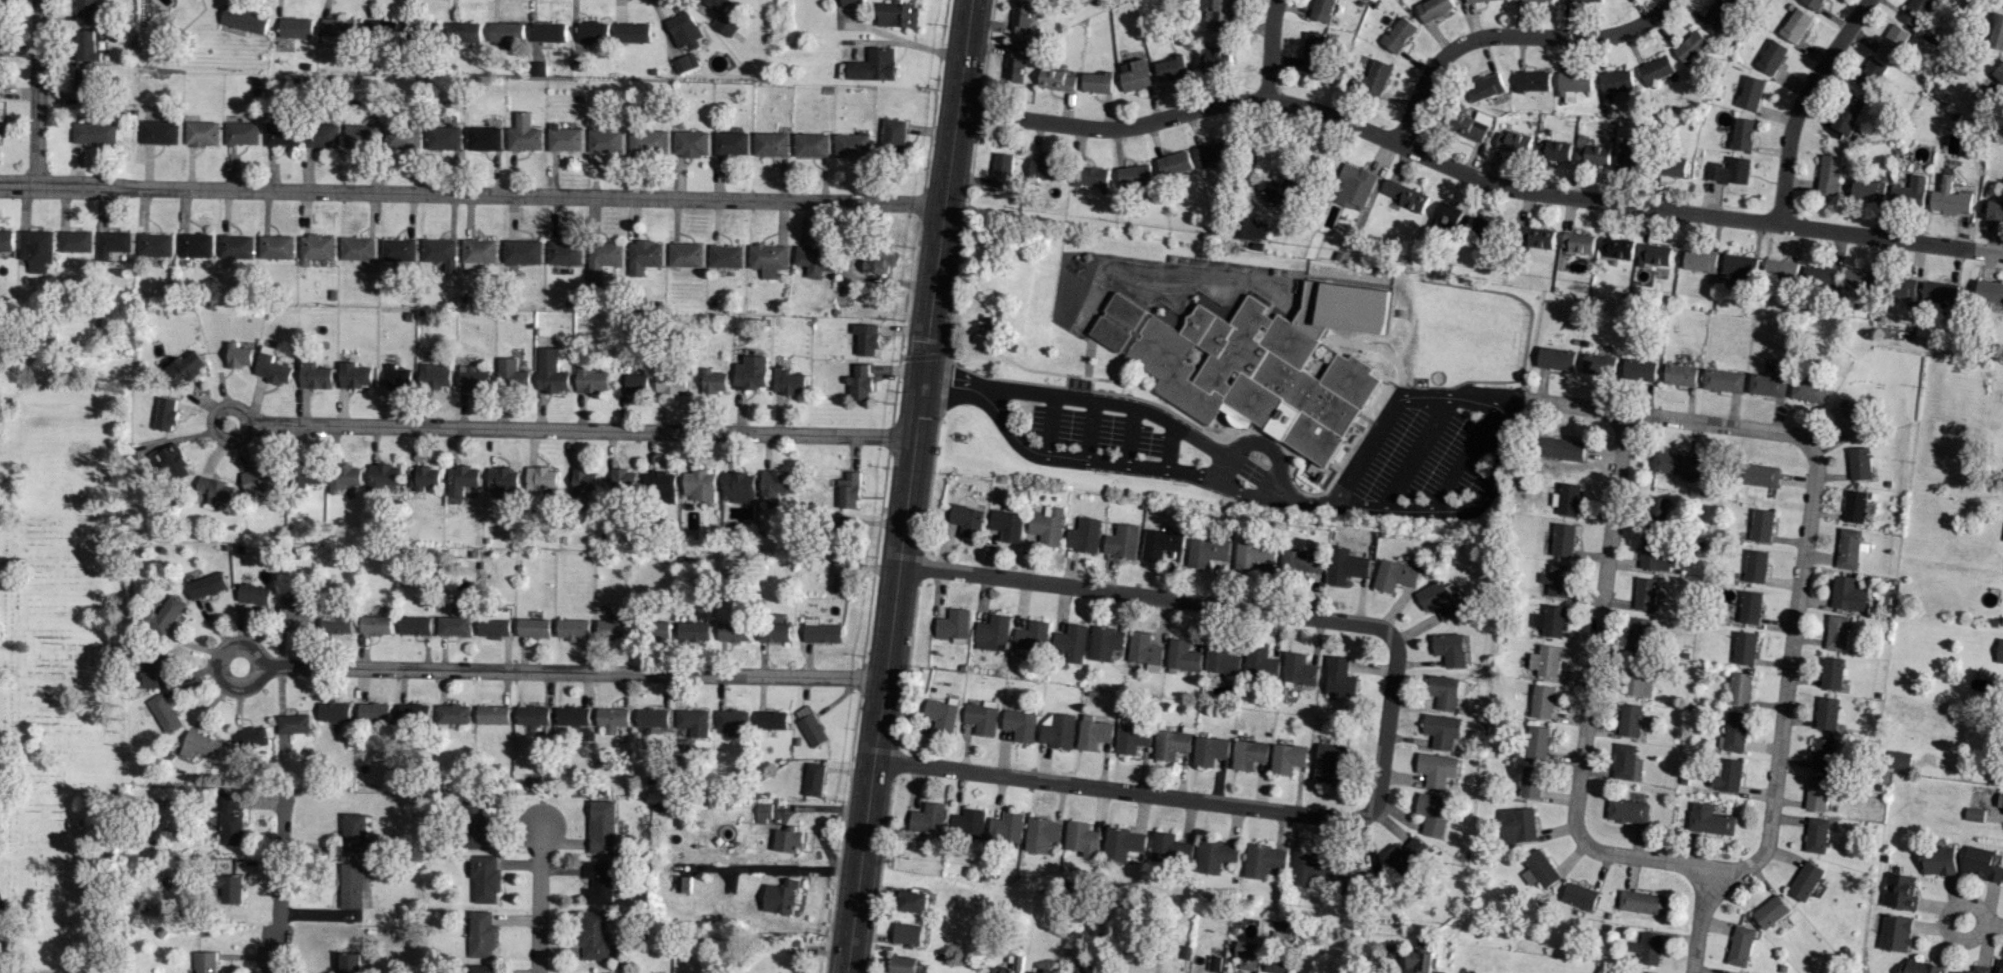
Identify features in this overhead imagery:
building: (0, 0)
building: (1534, 0)
building: (1586, 0)
building: (1476, 1)
building: (2001, 1)
building: (852, 3)
building: (1815, 3)
building: (1431, 8)
building: (1321, 10)
building: (86, 11)
building: (1915, 12)
building: (897, 14)
building: (1218, 14)
building: (1716, 15)
building: (722, 17)
building: (1023, 18)
building: (243, 20)
building: (1796, 24)
building: (295, 28)
building: (380, 29)
building: (684, 29)
building: (336, 30)
building: (466, 31)
building: (548, 32)
building: (593, 32)
building: (632, 32)
building: (1996, 32)
building: (506, 34)
building: (1398, 34)
road: (1510, 39)
road: (905, 41)
building: (1893, 41)
building: (85, 46)
building: (1690, 46)
road: (1269, 47)
building: (1311, 52)
building: (1773, 57)
building: (1215, 58)
building: (1016, 61)
building: (579, 62)
building: (687, 62)
building: (874, 65)
building: (536, 68)
building: (1171, 68)
building: (1654, 69)
building: (1999, 73)
building: (1870, 74)
building: (1134, 75)
building: (1375, 78)
building: (1058, 79)
building: (1530, 80)
building: (1097, 82)
building: (1612, 83)
building: (84, 84)
building: (1571, 84)
building: (1483, 86)
road: (36, 91)
building: (1751, 92)
road: (1800, 102)
building: (1846, 115)
building: (1467, 125)
building: (94, 132)
building: (158, 132)
building: (201, 133)
building: (241, 133)
building: (281, 134)
building: (523, 134)
building: (1744, 134)
building: (322, 136)
building: (361, 136)
building: (892, 136)
building: (403, 137)
building: (444, 137)
building: (484, 138)
building: (564, 140)
building: (605, 141)
building: (647, 141)
building: (1510, 142)
building: (691, 143)
building: (731, 143)
building: (771, 144)
building: (811, 145)
building: (852, 145)
building: (1555, 150)
building: (1590, 152)
building: (1211, 153)
building: (1627, 161)
building: (1174, 163)
building: (1672, 166)
building: (1046, 168)
building: (1002, 170)
building: (1731, 171)
road: (1472, 174)
building: (1828, 175)
building: (1134, 176)
building: (1089, 177)
building: (1353, 186)
building: (1867, 189)
building: (1278, 191)
road: (471, 192)
building: (1909, 192)
building: (1403, 195)
building: (1949, 198)
building: (1995, 210)
building: (1443, 216)
building: (1484, 227)
building: (1249, 228)
building: (1538, 237)
building: (75, 241)
building: (1577, 242)
building: (5, 243)
building: (112, 243)
building: (154, 245)
building: (195, 245)
building: (236, 246)
building: (276, 247)
building: (315, 248)
building: (357, 248)
building: (1616, 248)
building: (36, 249)
building: (397, 250)
building: (439, 252)
building: (478, 252)
building: (521, 252)
building: (563, 253)
building: (1655, 254)
building: (685, 255)
building: (643, 256)
building: (725, 256)
building: (768, 259)
building: (814, 260)
building: (1700, 260)
building: (602, 261)
building: (878, 262)
building: (1740, 264)
building: (1780, 270)
building: (1818, 275)
building: (1859, 280)
building: (1905, 287)
building: (1939, 292)
building: (1989, 295)
building: (867, 339)
building: (239, 356)
building: (1557, 358)
building: (1257, 362)
building: (1600, 364)
building: (272, 367)
building: (1641, 369)
building: (550, 372)
building: (435, 373)
building: (510, 373)
building: (751, 373)
building: (314, 375)
building: (354, 375)
building: (1681, 375)
building: (397, 378)
building: (669, 378)
building: (472, 379)
building: (590, 380)
building: (1725, 380)
building: (710, 381)
building: (788, 382)
traffic signals: (920, 382)
building: (861, 383)
building: (635, 384)
building: (1767, 385)
building: (1808, 390)
road: (1516, 400)
building: (165, 414)
road: (1157, 415)
road: (1505, 416)
building: (1847, 419)
road: (212, 421)
road: (581, 430)
building: (1563, 449)
road: (1415, 450)
road: (1464, 455)
building: (1860, 463)
road: (1112, 464)
building: (1676, 465)
building: (307, 474)
building: (1761, 475)
building: (382, 476)
building: (343, 477)
building: (424, 477)
building: (541, 478)
building: (461, 479)
building: (624, 479)
building: (258, 480)
building: (501, 480)
building: (584, 481)
building: (776, 483)
building: (659, 485)
building: (699, 485)
road: (906, 486)
building: (738, 487)
building: (214, 490)
building: (849, 490)
building: (1567, 499)
building: (1856, 506)
building: (1656, 512)
building: (965, 519)
building: (993, 519)
building: (1763, 524)
building: (1046, 525)
building: (844, 532)
building: (1084, 535)
building: (1562, 540)
building: (1122, 541)
building: (1161, 543)
building: (1849, 548)
building: (1208, 550)
building: (1656, 554)
building: (1253, 556)
road: (1803, 556)
building: (1303, 560)
building: (1346, 565)
building: (1758, 565)
building: (1395, 575)
building: (841, 577)
building: (1556, 580)
building: (206, 585)
building: (1646, 593)
building: (253, 594)
road: (1144, 594)
building: (1848, 594)
building: (1439, 600)
building: (1752, 606)
building: (295, 610)
building: (165, 613)
building: (1550, 620)
building: (336, 623)
building: (375, 625)
building: (415, 625)
building: (953, 625)
building: (455, 626)
building: (495, 626)
building: (534, 628)
building: (574, 629)
building: (614, 629)
building: (661, 631)
building: (694, 631)
building: (733, 631)
building: (1838, 631)
building: (773, 632)
building: (820, 632)
building: (987, 633)
building: (1640, 633)
building: (1031, 638)
building: (1071, 642)
building: (1105, 642)
building: (1747, 647)
building: (1450, 648)
building: (1144, 649)
building: (2000, 650)
building: (1183, 655)
park: (62, 659)
building: (1544, 660)
building: (1223, 661)
building: (1260, 662)
road: (214, 665)
building: (154, 669)
building: (1299, 669)
road: (571, 672)
building: (1833, 672)
building: (1341, 677)
building: (1640, 679)
building: (1741, 688)
building: (1444, 691)
building: (1542, 700)
road: (1586, 708)
building: (373, 712)
building: (414, 712)
building: (164, 713)
building: (453, 713)
building: (1827, 713)
building: (334, 714)
building: (493, 714)
building: (532, 715)
building: (941, 715)
building: (572, 716)
building: (652, 717)
building: (981, 718)
building: (611, 719)
building: (771, 720)
building: (1629, 720)
building: (731, 721)
building: (691, 722)
building: (293, 723)
building: (1020, 725)
building: (810, 726)
building: (1058, 730)
building: (1443, 730)
building: (1733, 732)
building: (1093, 733)
building: (251, 737)
building: (1132, 738)
building: (1536, 741)
building: (1172, 743)
building: (201, 745)
building: (1210, 750)
building: (1249, 754)
building: (1821, 754)
building: (1288, 758)
building: (1898, 760)
building: (1330, 761)
building: (1626, 762)
building: (1437, 769)
building: (1726, 775)
building: (814, 779)
building: (1530, 781)
building: (1816, 794)
building: (2000, 800)
road: (1211, 803)
building: (1627, 811)
building: (763, 812)
building: (1433, 814)
building: (1974, 814)
building: (229, 817)
building: (928, 818)
building: (1708, 819)
building: (967, 823)
building: (476, 824)
building: (1516, 824)
building: (601, 826)
building: (993, 831)
building: (354, 832)
building: (1041, 834)
building: (1816, 835)
building: (1082, 838)
building: (787, 840)
building: (1123, 843)
building: (1170, 848)
building: (1215, 855)
building: (1404, 855)
building: (1262, 860)
building: (1936, 860)
building: (1982, 863)
building: (1308, 868)
road: (773, 869)
building: (1537, 869)
building: (485, 878)
road: (277, 879)
building: (1356, 879)
building: (1804, 880)
building: (598, 883)
building: (683, 884)
building: (351, 885)
building: (229, 889)
road: (1697, 890)
building: (1898, 891)
building: (1578, 895)
road: (538, 896)
building: (780, 897)
building: (911, 901)
building: (1640, 902)
building: (1769, 911)
road: (1944, 916)
road: (1991, 923)
road: (9, 932)
building: (1894, 932)
building: (481, 934)
building: (908, 934)
building: (594, 936)
building: (1740, 945)
road: (1694, 946)
building: (1646, 948)
building: (1246, 954)
building: (1017, 961)
building: (205, 962)
building: (1421, 962)
building: (347, 963)
building: (1214, 963)
building: (905, 965)
building: (1275, 965)
building: (1917, 966)
building: (2000, 966)
building: (482, 968)
building: (1981, 970)
building: (1047, 971)
building: (1634, 972)

